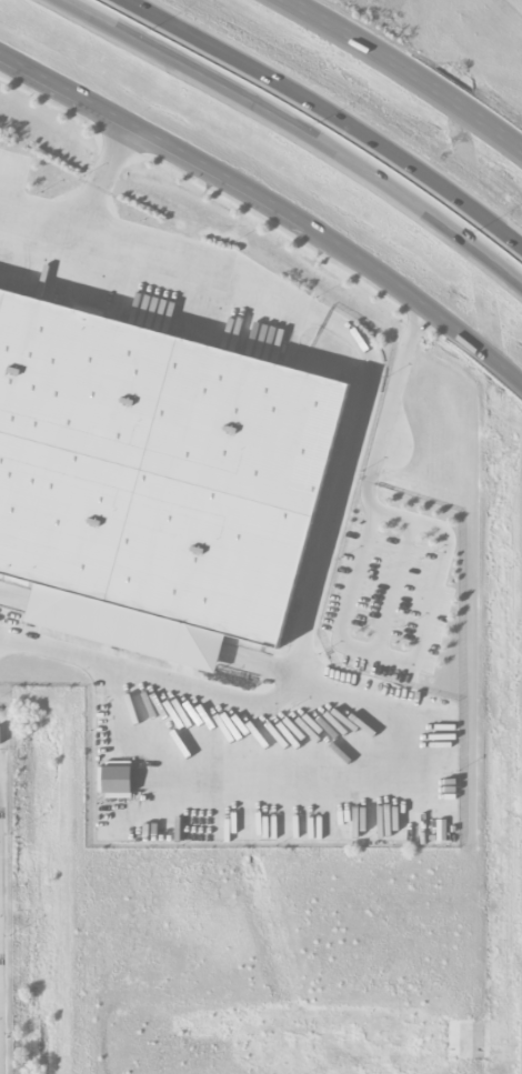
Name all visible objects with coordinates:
road: (404, 72)
road: (328, 113)
road: (298, 129)
road: (112, 158)
road: (271, 205)
road: (86, 212)
road: (161, 265)
building: (158, 468)
road: (300, 639)

